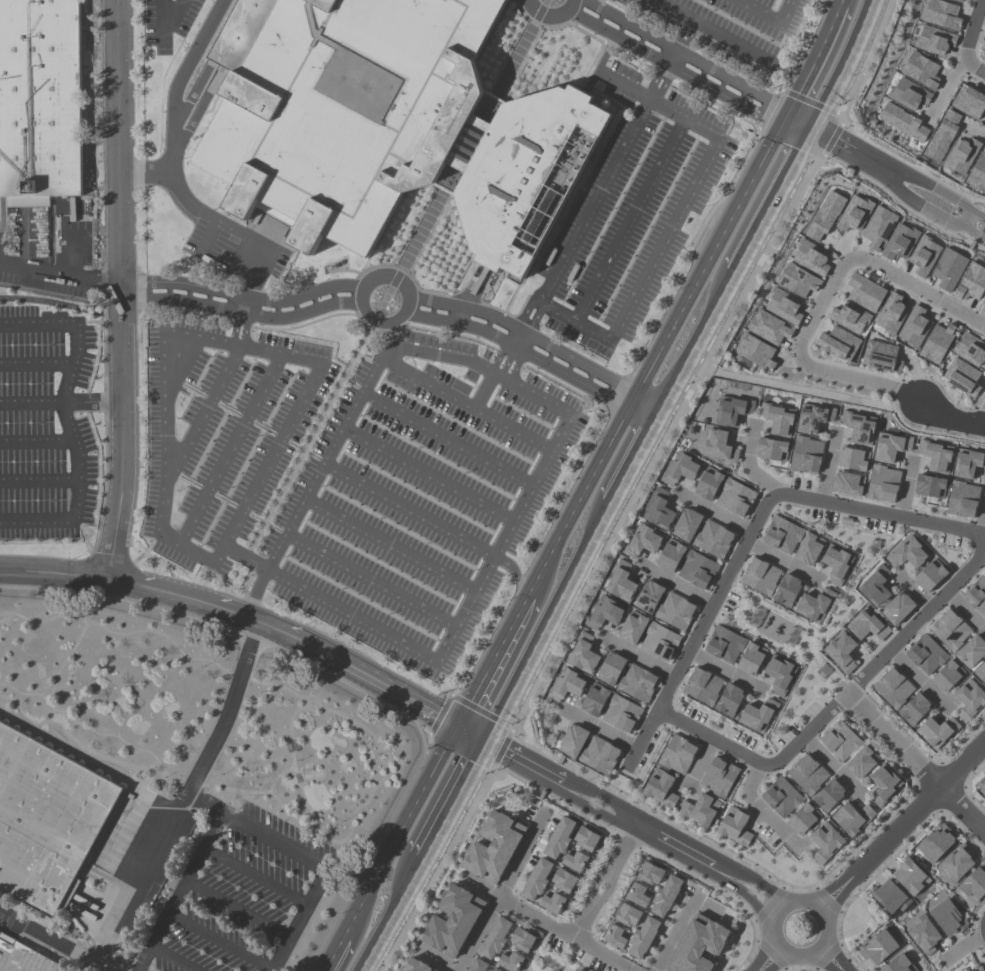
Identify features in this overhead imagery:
building: (957, 0)
road: (550, 10)
road: (755, 12)
road: (784, 13)
building: (941, 14)
road: (163, 35)
building: (934, 40)
road: (967, 42)
building: (983, 53)
road: (685, 55)
road: (512, 60)
road: (841, 64)
road: (667, 65)
building: (921, 70)
road: (605, 77)
road: (947, 90)
building: (908, 94)
building: (40, 102)
building: (968, 102)
road: (173, 106)
building: (379, 121)
building: (903, 121)
road: (977, 131)
building: (942, 135)
road: (832, 142)
building: (961, 155)
road: (118, 156)
building: (978, 173)
road: (927, 186)
road: (599, 191)
road: (772, 195)
road: (917, 204)
building: (854, 213)
building: (825, 215)
road: (978, 215)
road: (626, 217)
road: (967, 220)
building: (878, 227)
road: (238, 230)
road: (973, 232)
road: (663, 240)
building: (899, 242)
building: (924, 256)
building: (810, 257)
building: (948, 269)
road: (57, 274)
building: (797, 280)
building: (971, 282)
building: (865, 291)
road: (824, 294)
road: (239, 296)
road: (51, 301)
road: (410, 305)
building: (983, 305)
building: (783, 306)
road: (109, 312)
road: (238, 313)
building: (890, 313)
building: (849, 318)
road: (76, 326)
building: (768, 326)
building: (914, 327)
road: (234, 329)
road: (246, 332)
road: (537, 340)
road: (692, 341)
building: (839, 343)
building: (937, 343)
building: (970, 349)
building: (755, 350)
road: (531, 356)
building: (881, 356)
road: (498, 358)
road: (349, 361)
road: (507, 362)
road: (653, 364)
road: (516, 367)
road: (375, 373)
building: (962, 376)
road: (806, 391)
road: (93, 402)
building: (732, 410)
road: (949, 415)
road: (294, 417)
building: (813, 417)
building: (778, 418)
building: (859, 427)
road: (104, 435)
road: (122, 446)
building: (718, 446)
building: (890, 446)
building: (772, 449)
road: (631, 455)
building: (806, 455)
building: (936, 455)
building: (852, 458)
building: (967, 463)
road: (748, 466)
road: (827, 466)
building: (680, 468)
building: (708, 483)
building: (847, 483)
building: (882, 483)
building: (930, 485)
road: (905, 489)
road: (75, 497)
building: (735, 497)
building: (962, 499)
building: (659, 510)
road: (714, 512)
road: (880, 513)
road: (983, 520)
building: (686, 524)
building: (782, 534)
building: (713, 539)
building: (642, 540)
building: (808, 548)
building: (908, 553)
building: (669, 555)
road: (781, 559)
building: (836, 563)
building: (697, 570)
road: (90, 573)
building: (930, 575)
building: (760, 576)
building: (621, 582)
road: (677, 584)
road: (299, 586)
building: (875, 586)
building: (787, 590)
road: (916, 592)
road: (256, 594)
building: (977, 594)
building: (648, 596)
building: (814, 604)
building: (897, 607)
building: (675, 611)
road: (966, 612)
building: (605, 613)
road: (547, 614)
road: (237, 615)
building: (755, 617)
road: (923, 618)
building: (867, 625)
building: (632, 627)
road: (698, 629)
building: (950, 630)
building: (790, 636)
building: (659, 641)
building: (724, 644)
road: (276, 646)
building: (841, 651)
building: (971, 651)
building: (583, 654)
building: (926, 654)
road: (638, 656)
building: (751, 658)
building: (610, 668)
road: (722, 669)
building: (981, 673)
building: (779, 674)
building: (947, 676)
road: (917, 679)
building: (637, 683)
building: (566, 684)
building: (702, 686)
building: (893, 688)
building: (594, 699)
building: (729, 699)
building: (969, 699)
building: (914, 709)
building: (621, 713)
building: (757, 715)
traffic signals: (456, 723)
road: (600, 729)
building: (936, 730)
road: (469, 731)
road: (807, 734)
road: (707, 737)
traffic signals: (482, 739)
building: (572, 740)
road: (894, 740)
building: (840, 741)
building: (677, 754)
building: (599, 755)
road: (511, 757)
building: (861, 762)
road: (697, 763)
road: (830, 763)
building: (807, 774)
building: (718, 777)
building: (883, 784)
building: (981, 784)
building: (659, 788)
road: (592, 791)
road: (183, 795)
building: (828, 795)
building: (781, 797)
road: (451, 800)
road: (584, 806)
building: (700, 809)
road: (760, 809)
road: (962, 810)
building: (852, 817)
building: (803, 818)
building: (47, 823)
building: (734, 826)
road: (900, 826)
road: (398, 831)
building: (559, 837)
building: (586, 839)
building: (825, 842)
building: (935, 842)
building: (493, 846)
road: (621, 847)
road: (672, 847)
road: (304, 857)
building: (575, 860)
building: (957, 863)
building: (650, 873)
building: (911, 876)
building: (536, 879)
building: (564, 880)
road: (753, 880)
road: (594, 882)
building: (973, 885)
road: (607, 888)
road: (480, 889)
road: (501, 889)
building: (638, 894)
building: (665, 895)
road: (746, 895)
building: (889, 897)
road: (173, 902)
building: (552, 902)
road: (708, 909)
road: (780, 911)
building: (627, 915)
road: (389, 916)
building: (948, 917)
building: (452, 920)
road: (582, 920)
road: (674, 931)
road: (566, 934)
building: (924, 934)
building: (615, 936)
building: (643, 937)
building: (495, 938)
road: (353, 939)
building: (522, 939)
road: (57, 941)
building: (698, 944)
road: (963, 946)
building: (878, 947)
road: (332, 955)
building: (23, 958)
road: (830, 958)
road: (770, 959)
road: (144, 960)
road: (434, 961)
building: (510, 961)
building: (899, 964)
building: (476, 965)
building: (415, 966)
building: (976, 968)
building: (495, 969)
building: (580, 970)
building: (967, 970)

